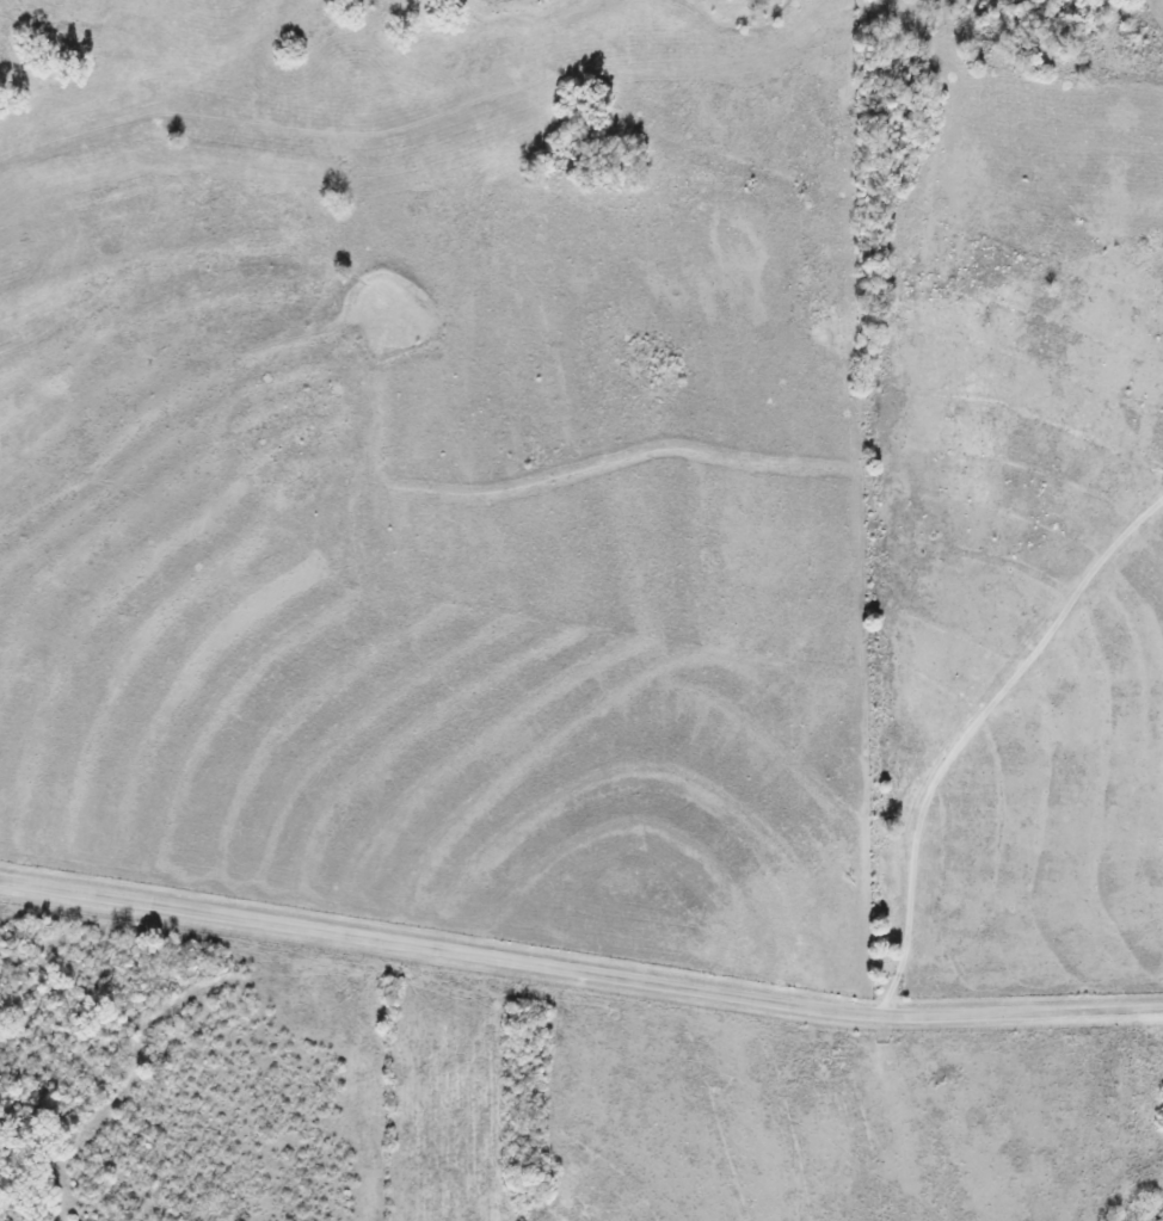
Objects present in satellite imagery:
road: (579, 964)

